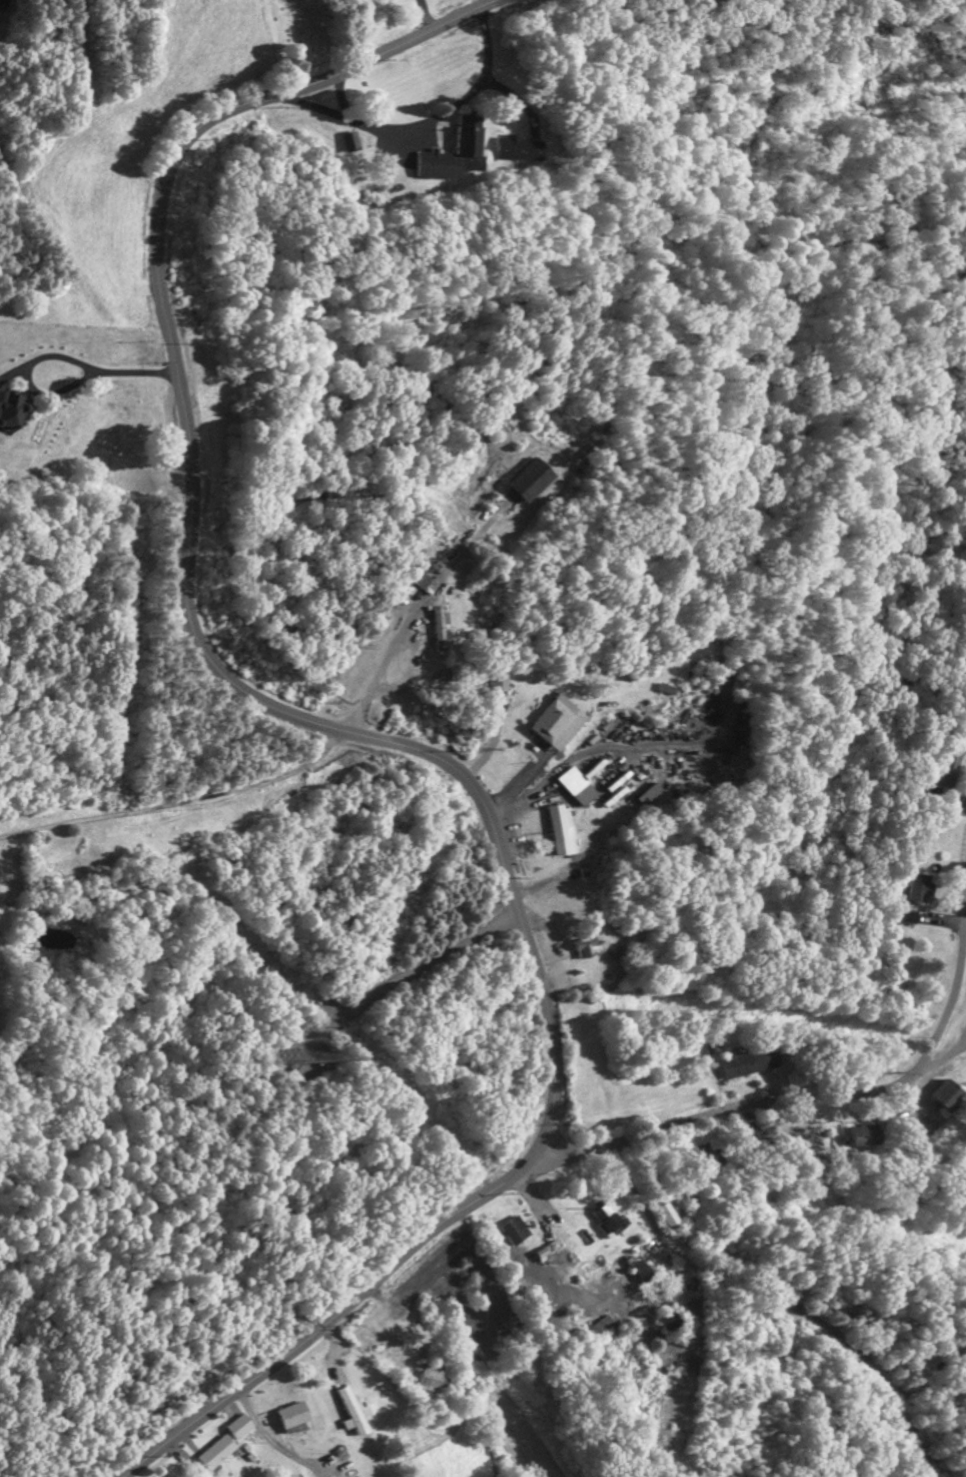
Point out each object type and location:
road: (417, 17)
road: (337, 100)
road: (417, 125)
building: (351, 146)
building: (516, 153)
building: (454, 157)
road: (54, 356)
building: (11, 412)
building: (529, 483)
building: (424, 585)
road: (400, 620)
building: (437, 630)
building: (499, 685)
building: (557, 725)
road: (350, 736)
building: (946, 775)
building: (575, 790)
building: (646, 798)
road: (178, 801)
building: (559, 833)
building: (921, 891)
building: (909, 920)
building: (584, 951)
road: (412, 967)
road: (941, 1062)
building: (749, 1066)
road: (814, 1097)
building: (944, 1099)
building: (862, 1139)
building: (664, 1220)
building: (606, 1221)
building: (515, 1234)
road: (779, 1301)
building: (671, 1324)
building: (602, 1329)
building: (427, 1381)
building: (349, 1416)
building: (291, 1419)
building: (238, 1430)
building: (214, 1457)

